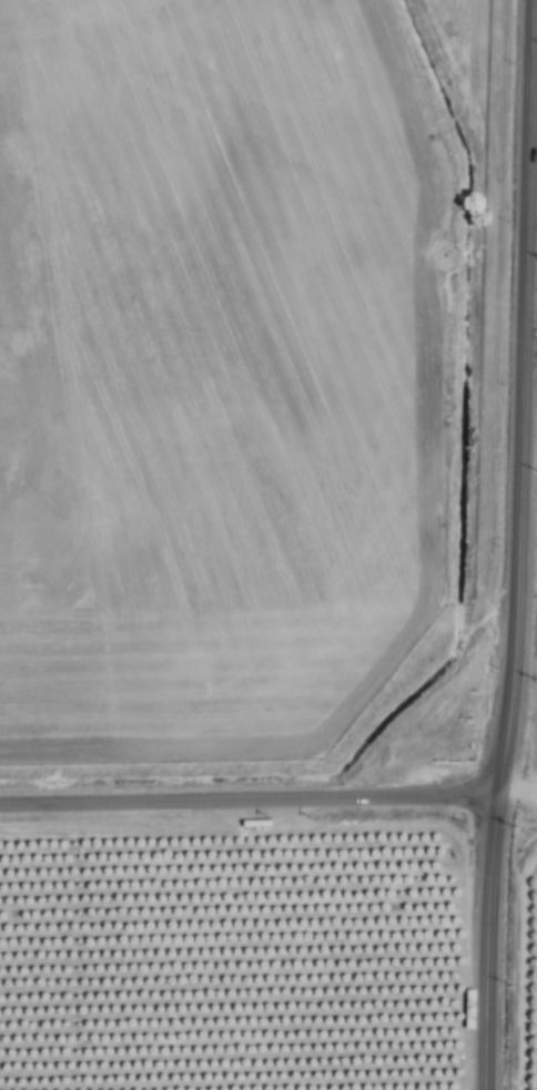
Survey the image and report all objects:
road: (525, 268)
road: (513, 668)
road: (249, 802)
road: (486, 943)

